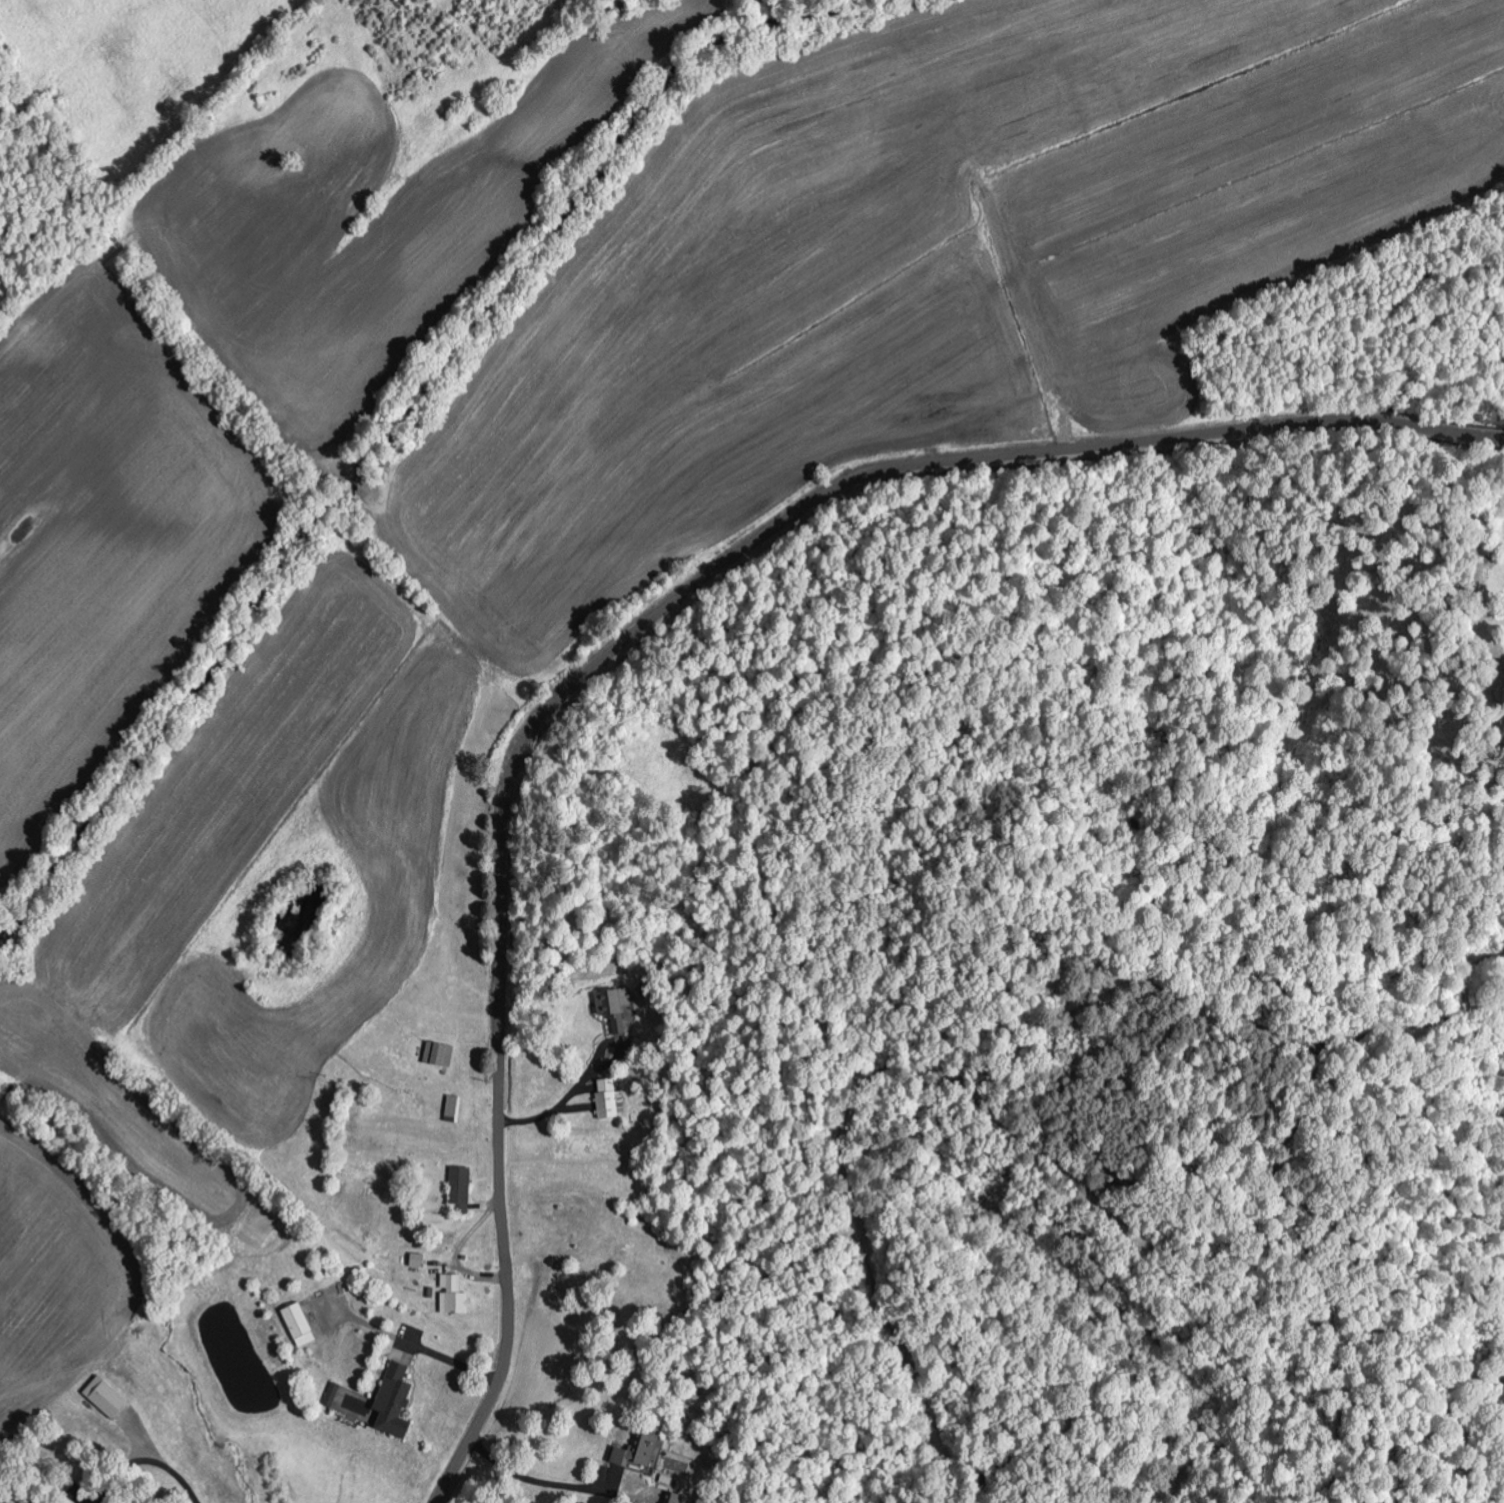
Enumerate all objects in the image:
road: (631, 639)
building: (617, 1009)
building: (438, 1054)
building: (609, 1099)
building: (453, 1109)
building: (460, 1190)
building: (416, 1261)
building: (454, 1296)
building: (298, 1325)
building: (332, 1395)
building: (104, 1398)
building: (393, 1402)
building: (636, 1452)

